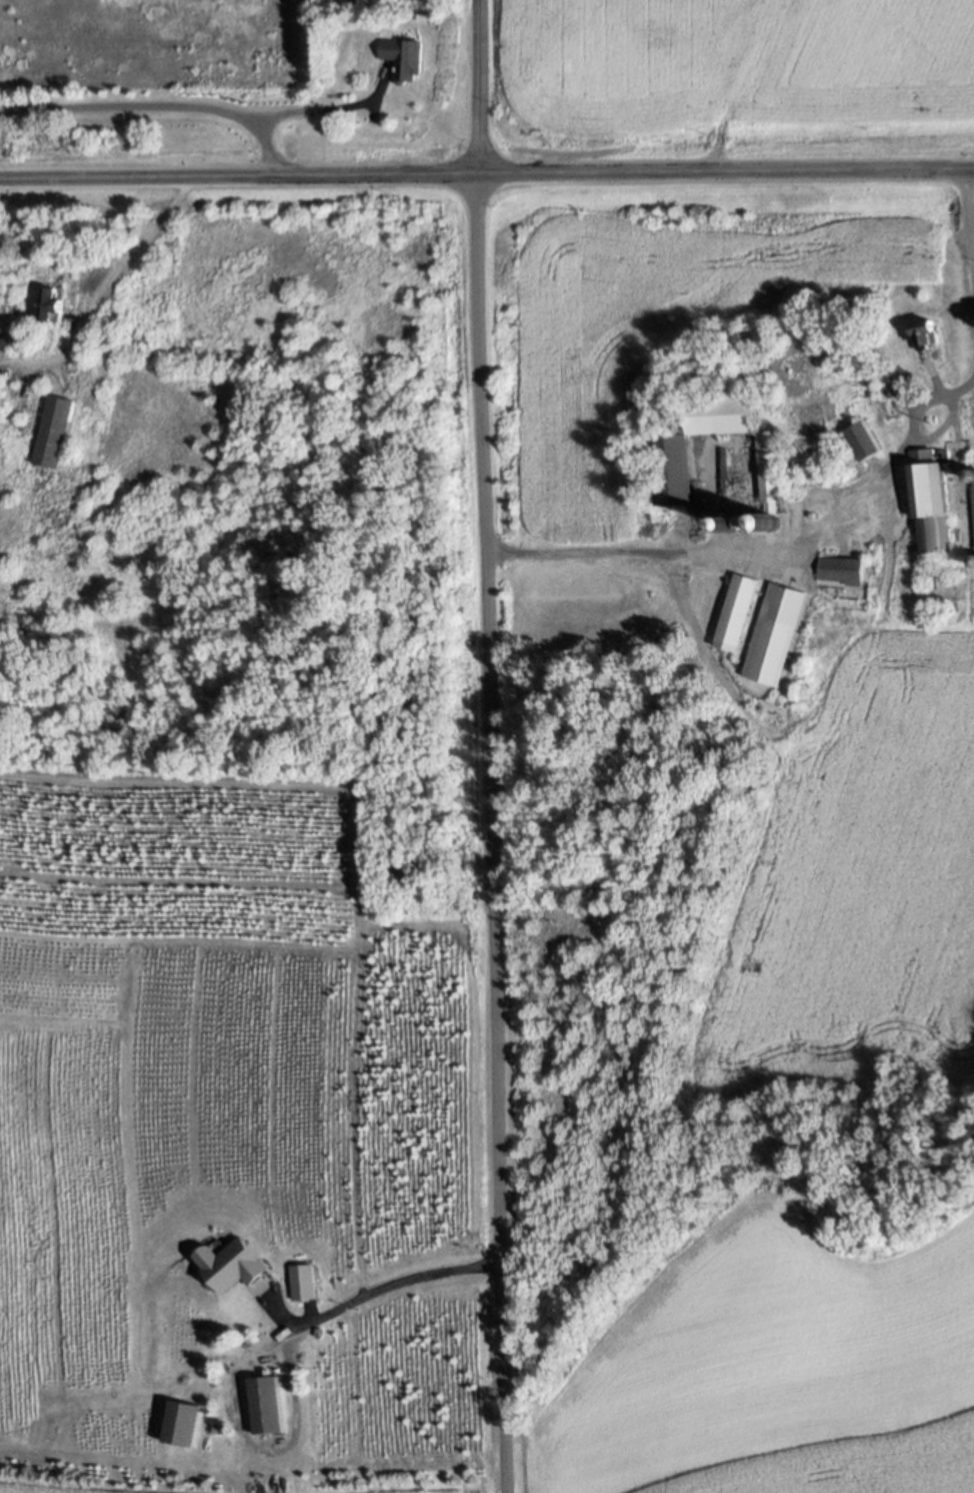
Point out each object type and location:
building: (427, 15)
building: (405, 56)
road: (159, 105)
road: (321, 112)
road: (487, 175)
road: (972, 225)
road: (111, 292)
building: (51, 304)
building: (926, 334)
building: (6, 339)
building: (723, 413)
building: (56, 431)
building: (863, 440)
building: (672, 468)
building: (722, 473)
building: (768, 477)
building: (973, 495)
building: (931, 498)
road: (767, 551)
building: (843, 569)
building: (736, 612)
building: (776, 635)
road: (491, 746)
building: (309, 1283)
road: (381, 1290)
building: (267, 1404)

